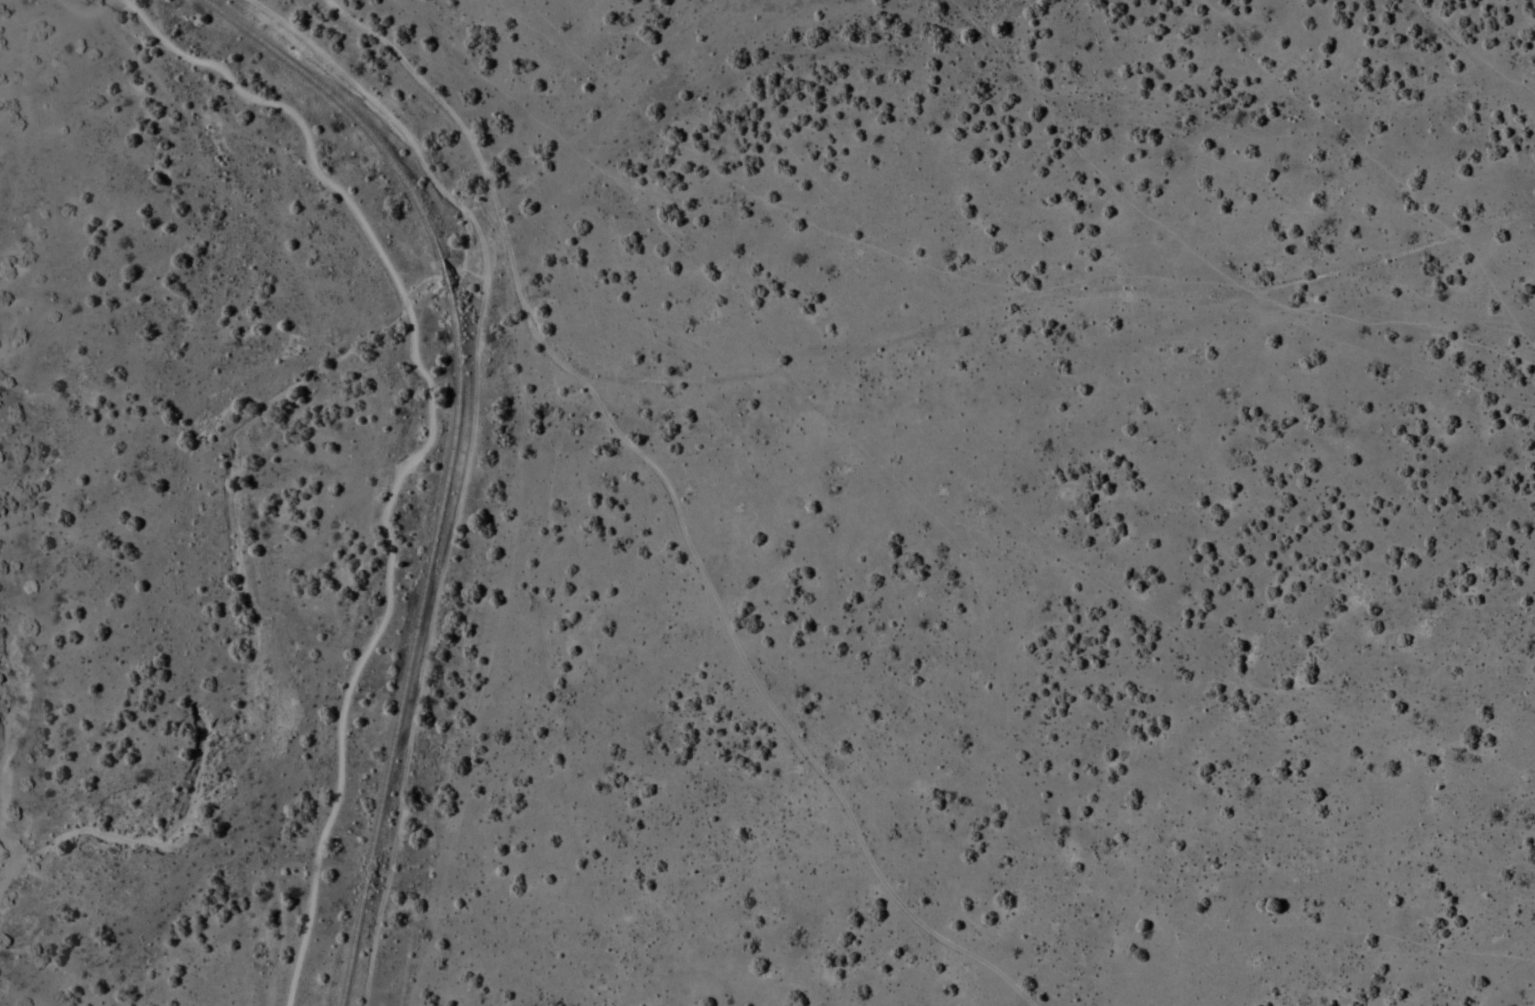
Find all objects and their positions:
road: (85, 8)
road: (418, 450)
railway: (448, 457)
road: (662, 510)

